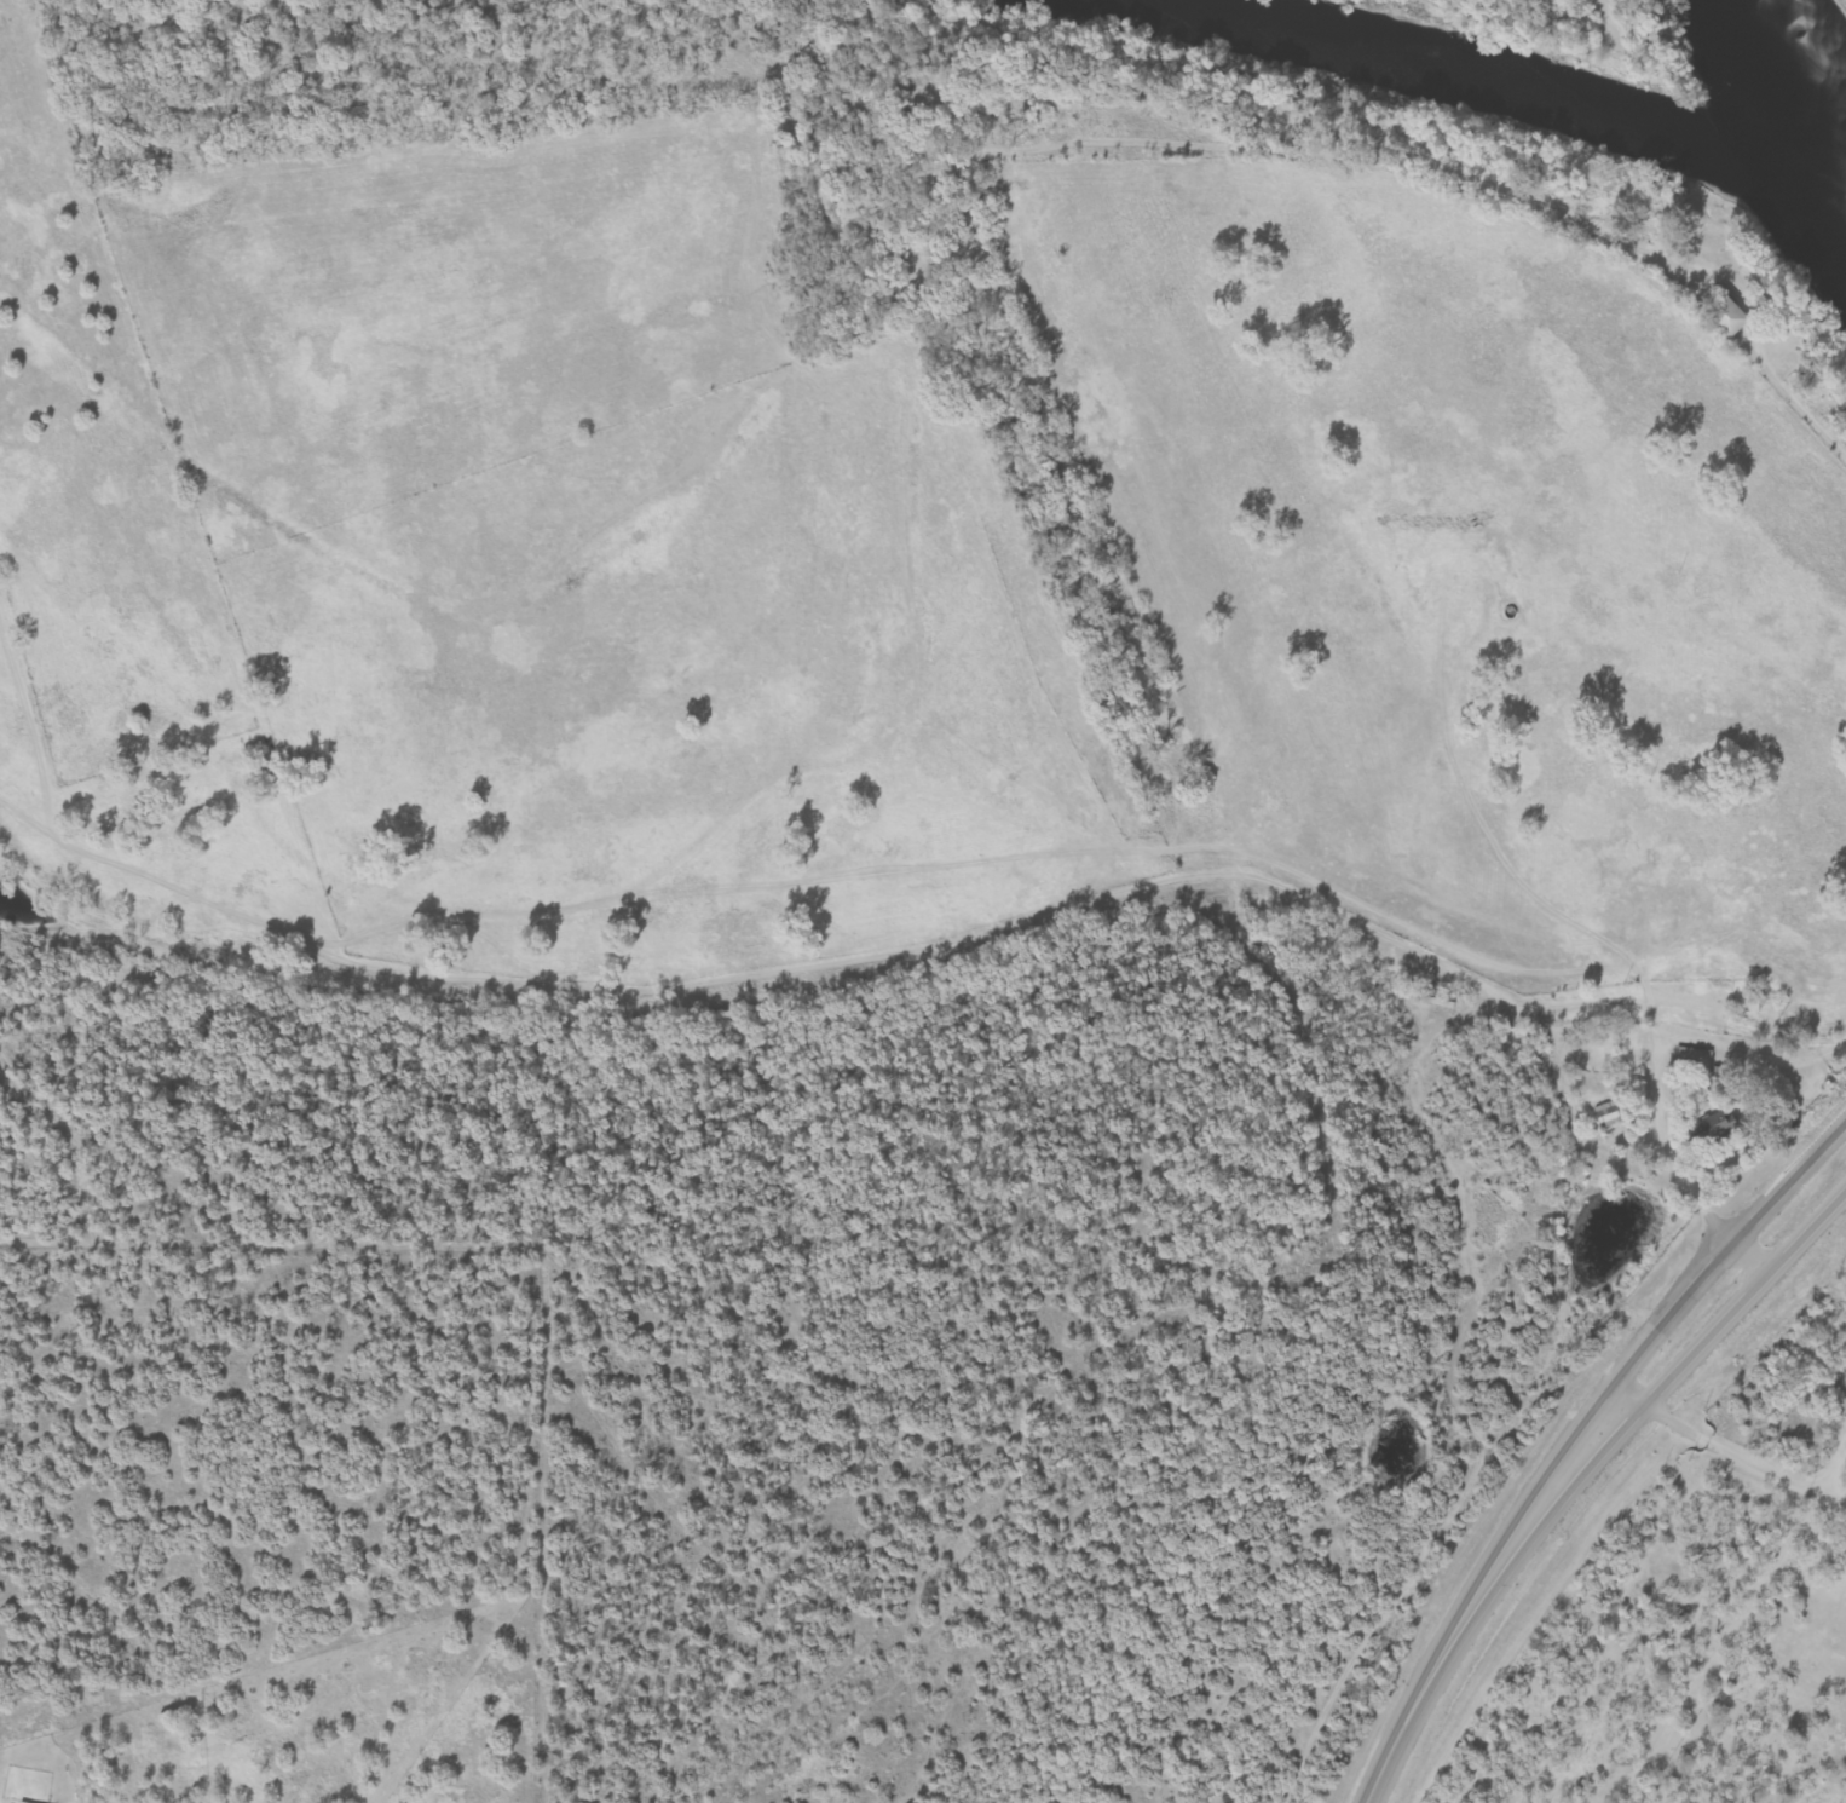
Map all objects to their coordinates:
river: (1776, 137)
building: (1718, 315)
road: (1626, 957)
building: (1690, 1061)
building: (1606, 1114)
road: (1805, 1228)
road: (1747, 1251)
road: (1638, 1343)
road: (1608, 1429)
road: (1736, 1458)
road: (1835, 1474)
road: (1415, 1701)
building: (22, 1802)

